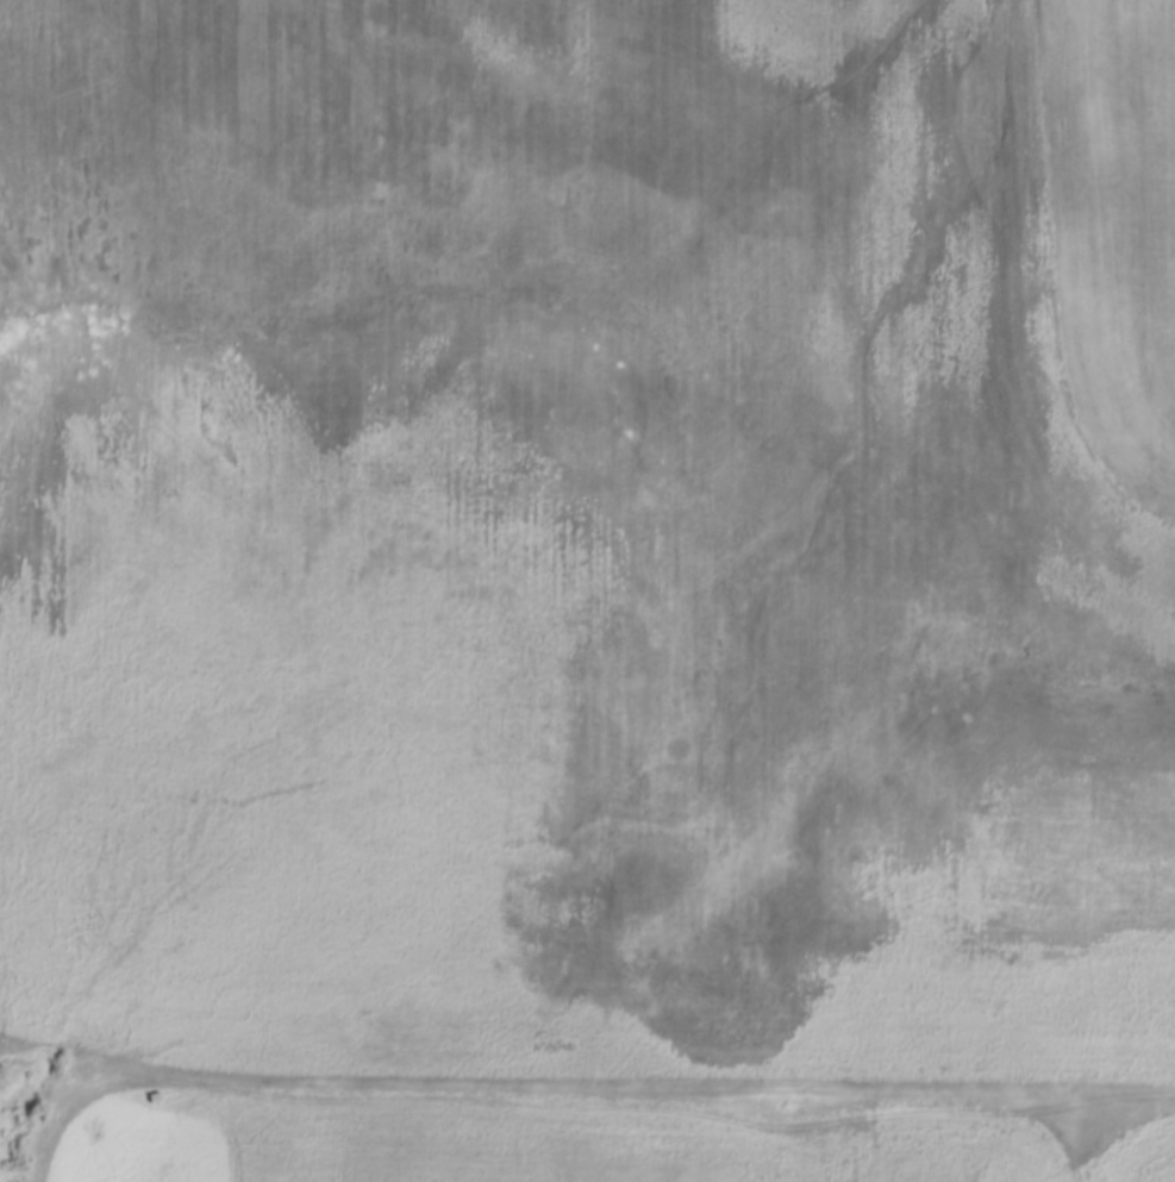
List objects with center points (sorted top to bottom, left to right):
road: (1113, 1088)

